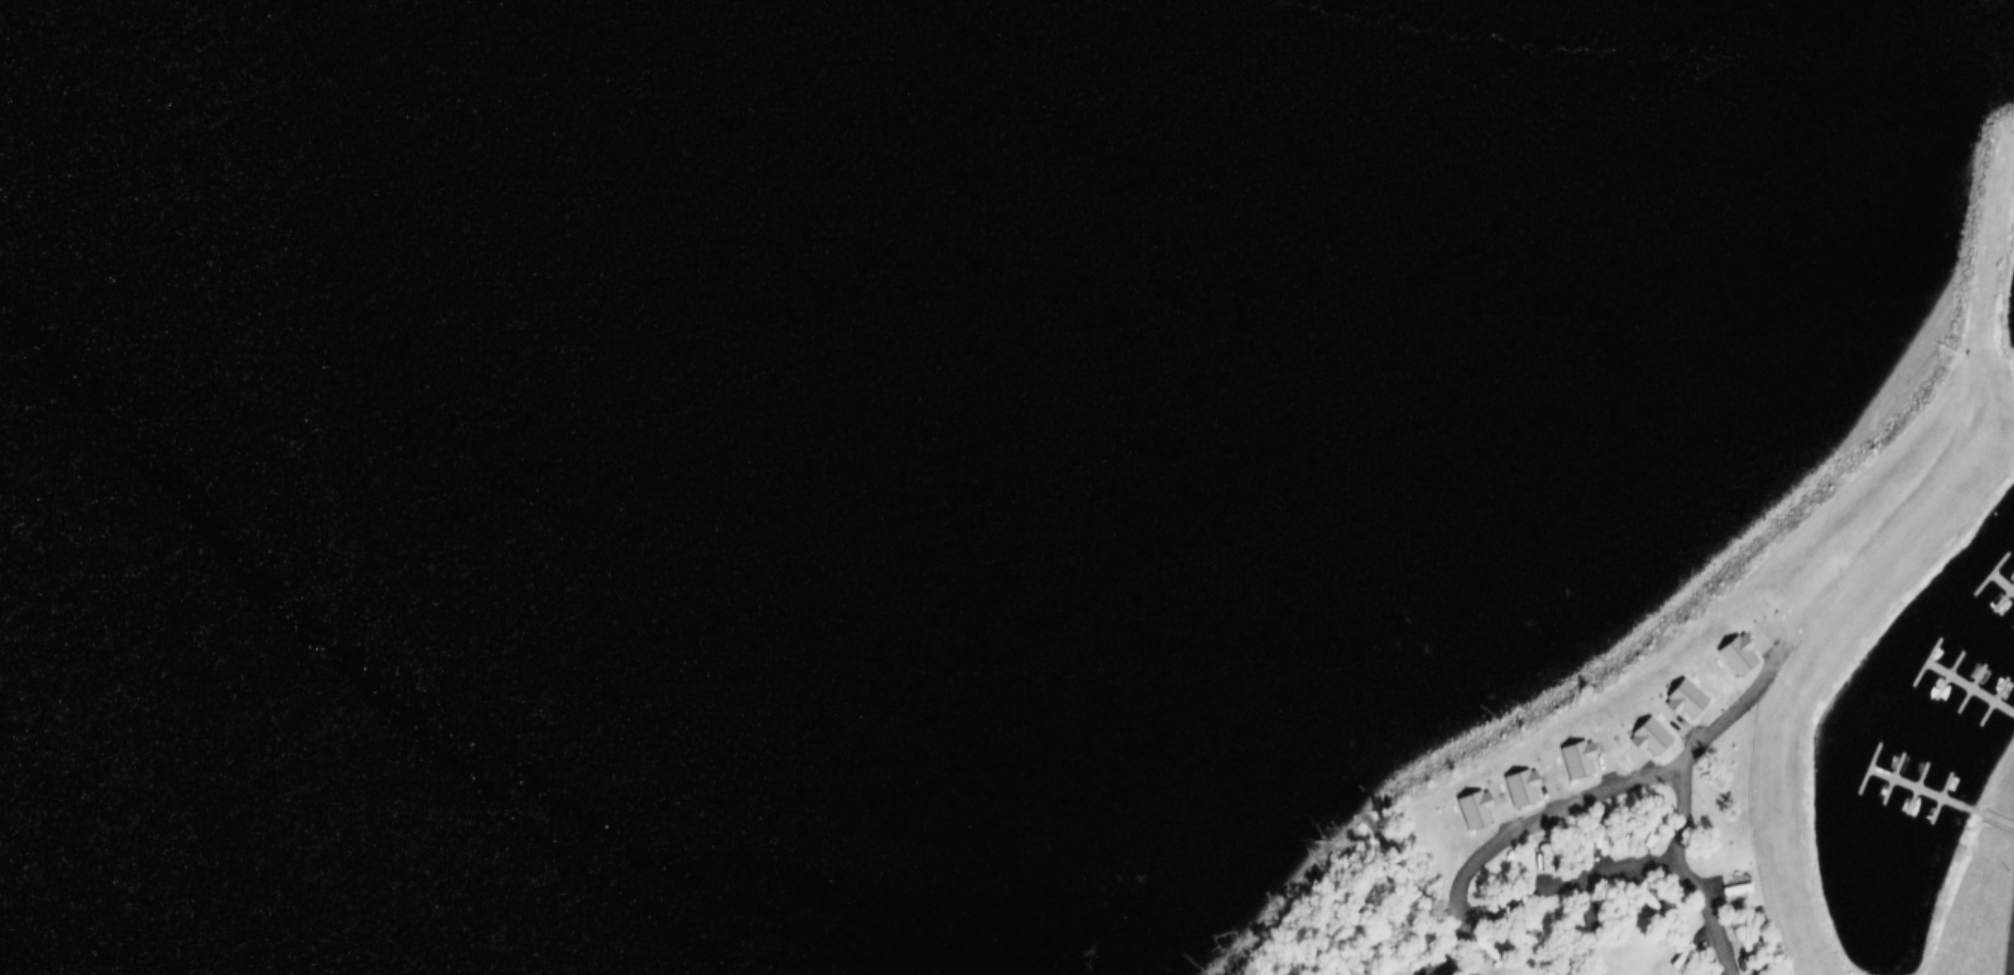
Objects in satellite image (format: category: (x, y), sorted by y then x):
pier: (2009, 576)
pier: (2009, 585)
pier: (1997, 590)
pier: (2012, 615)
building: (1732, 656)
pier: (1952, 661)
pier: (1973, 675)
pier: (1937, 682)
pier: (1979, 695)
pier: (1959, 696)
building: (1679, 699)
pier: (1989, 701)
pier: (2005, 723)
building: (1646, 738)
building: (1572, 760)
pier: (1886, 765)
pier: (1910, 774)
building: (1514, 787)
pier: (1875, 787)
pier: (1930, 796)
pier: (1900, 798)
pier: (1946, 804)
building: (1466, 807)
pier: (1955, 807)
building: (1593, 840)
building: (1642, 840)
building: (1534, 857)
building: (1542, 859)
building: (1731, 890)
building: (1483, 950)
building: (1674, 954)
building: (1688, 955)
building: (1755, 961)

